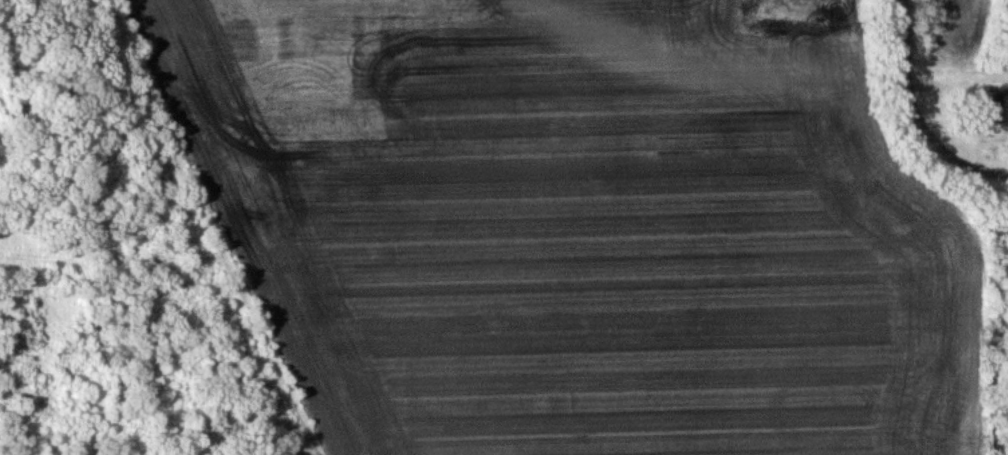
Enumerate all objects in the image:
road: (898, 71)
building: (989, 107)
road: (965, 160)

